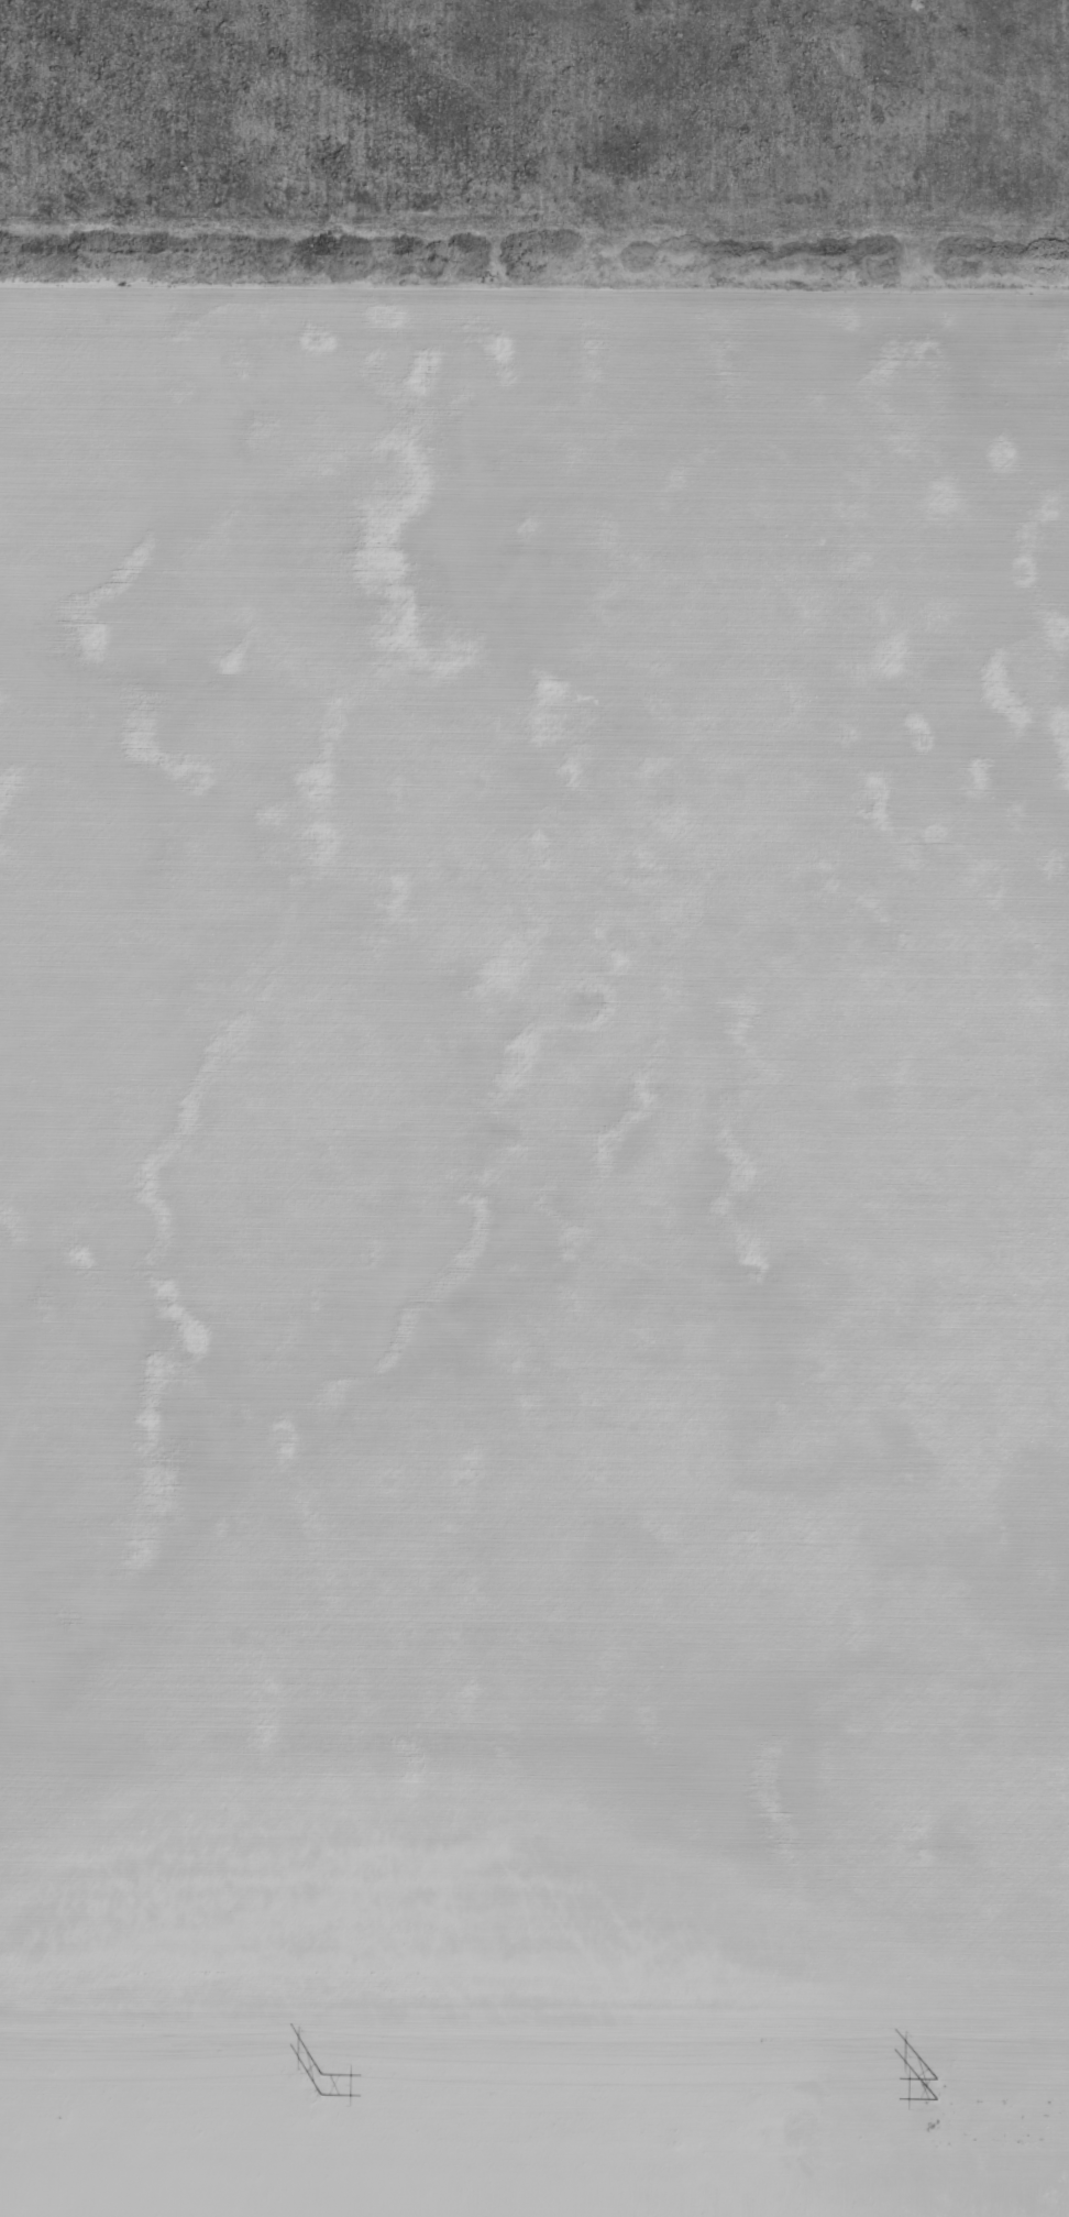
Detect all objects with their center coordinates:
power tower: (310, 2066)
power tower: (922, 2071)

